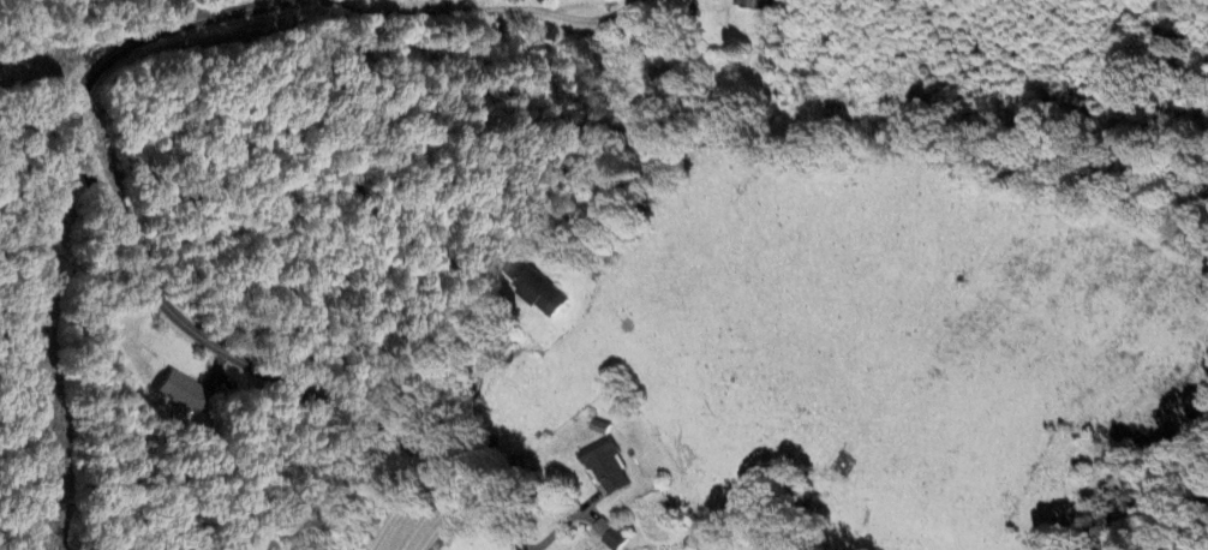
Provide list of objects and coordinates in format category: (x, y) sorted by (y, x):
building: (754, 5)
road: (198, 10)
building: (534, 287)
road: (155, 292)
building: (183, 394)
building: (604, 468)
building: (606, 534)

